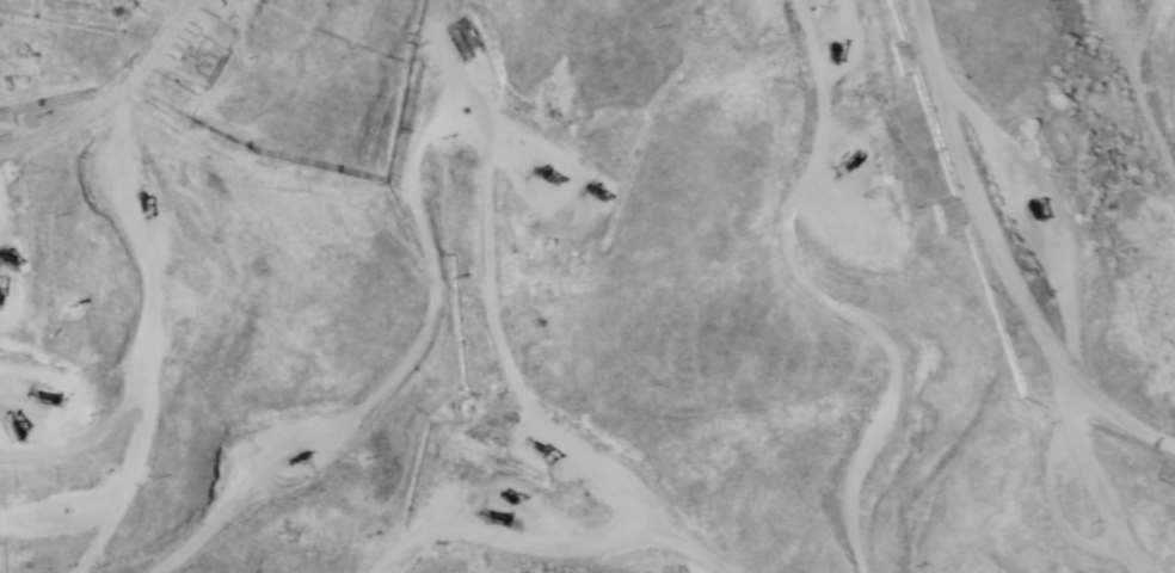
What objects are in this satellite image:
road: (923, 94)
road: (27, 124)
road: (1106, 189)
road: (32, 276)
road: (482, 295)
road: (922, 318)
road: (451, 386)
road: (456, 455)
road: (878, 461)
road: (11, 474)
road: (1119, 476)
road: (1034, 506)

